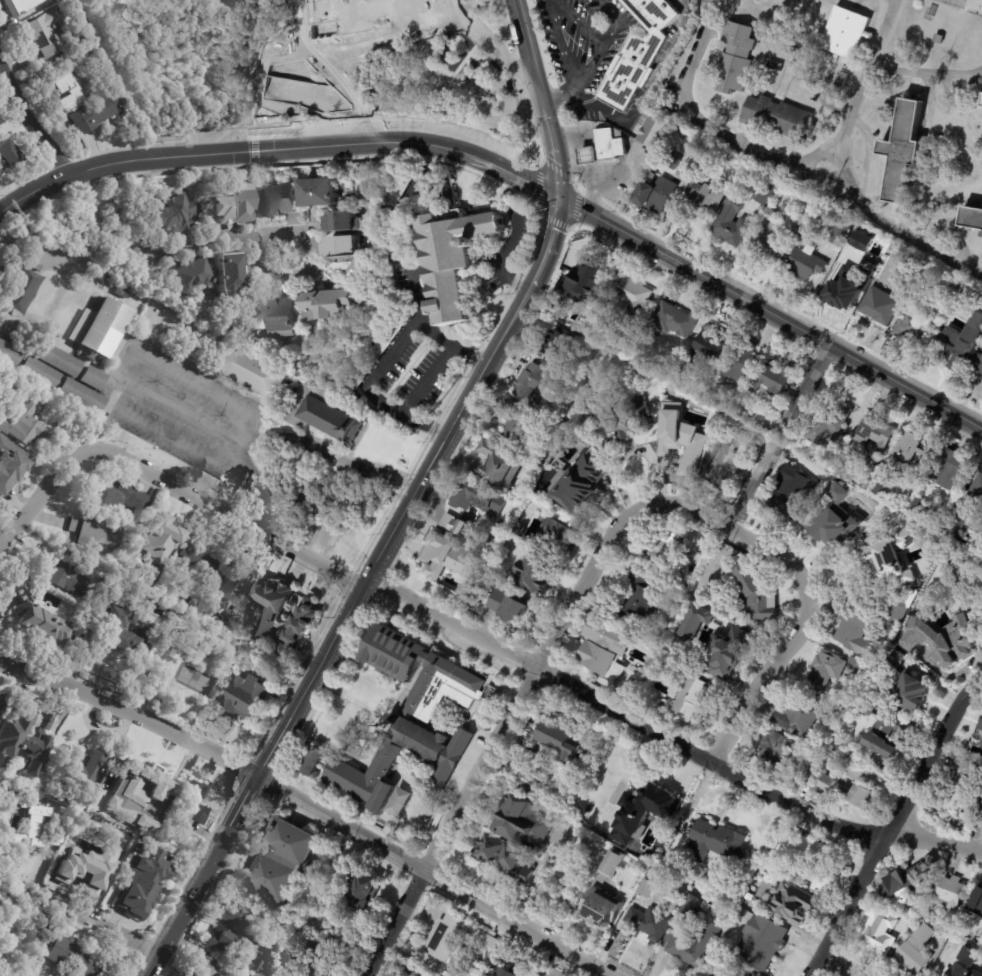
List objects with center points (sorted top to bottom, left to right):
building: (621, 1)
road: (547, 3)
building: (19, 6)
road: (605, 10)
building: (379, 14)
road: (521, 20)
road: (575, 24)
building: (845, 33)
building: (42, 34)
building: (88, 37)
building: (940, 39)
road: (602, 40)
road: (558, 45)
road: (490, 48)
building: (637, 53)
building: (86, 54)
building: (358, 57)
building: (737, 58)
road: (867, 70)
road: (926, 70)
road: (580, 72)
building: (842, 79)
building: (112, 82)
road: (556, 90)
building: (67, 91)
road: (645, 93)
building: (980, 100)
building: (94, 113)
building: (779, 117)
road: (549, 118)
road: (31, 122)
road: (708, 129)
building: (656, 133)
road: (278, 147)
building: (606, 148)
building: (700, 149)
building: (903, 151)
building: (8, 155)
building: (655, 178)
building: (399, 191)
building: (323, 194)
building: (769, 195)
building: (657, 197)
traffic signals: (557, 199)
building: (706, 202)
building: (280, 203)
building: (233, 207)
building: (803, 216)
building: (176, 217)
building: (775, 217)
building: (388, 219)
building: (972, 219)
building: (348, 222)
building: (735, 223)
road: (886, 226)
building: (841, 232)
building: (859, 241)
building: (771, 244)
building: (342, 245)
road: (168, 253)
road: (501, 258)
building: (456, 259)
building: (807, 263)
building: (350, 264)
building: (39, 268)
building: (228, 274)
building: (109, 276)
building: (587, 277)
building: (190, 278)
building: (121, 293)
building: (844, 293)
building: (630, 297)
building: (330, 307)
building: (879, 310)
road: (769, 313)
building: (0, 317)
building: (271, 318)
building: (0, 319)
road: (419, 320)
building: (676, 321)
building: (917, 328)
building: (105, 329)
road: (453, 341)
building: (559, 348)
building: (960, 348)
building: (708, 350)
building: (11, 355)
building: (60, 360)
building: (977, 363)
building: (745, 365)
road: (129, 369)
building: (682, 372)
building: (43, 373)
road: (427, 378)
building: (94, 379)
building: (777, 382)
building: (540, 385)
building: (6, 390)
building: (289, 394)
building: (84, 396)
building: (667, 409)
building: (619, 419)
building: (761, 420)
building: (23, 425)
building: (832, 426)
building: (525, 430)
building: (666, 430)
road: (780, 435)
building: (877, 436)
road: (273, 438)
building: (932, 452)
building: (687, 453)
building: (907, 455)
building: (732, 464)
building: (10, 466)
building: (499, 468)
building: (952, 470)
building: (545, 484)
building: (871, 485)
building: (580, 488)
building: (116, 493)
building: (978, 493)
building: (795, 494)
road: (40, 497)
building: (478, 499)
building: (311, 509)
building: (925, 509)
building: (837, 517)
building: (486, 522)
building: (457, 527)
building: (958, 528)
building: (95, 533)
road: (746, 533)
building: (557, 538)
building: (492, 546)
road: (852, 548)
building: (666, 552)
building: (895, 557)
building: (446, 558)
building: (637, 559)
building: (198, 565)
building: (68, 573)
building: (536, 577)
building: (232, 587)
road: (358, 590)
building: (637, 597)
building: (79, 598)
building: (187, 601)
building: (758, 601)
building: (903, 604)
building: (509, 605)
building: (272, 606)
building: (39, 617)
building: (694, 622)
building: (120, 626)
building: (300, 630)
building: (855, 634)
building: (741, 636)
building: (916, 638)
building: (953, 642)
building: (603, 647)
building: (733, 649)
road: (530, 658)
building: (897, 659)
building: (861, 670)
building: (825, 672)
building: (616, 674)
building: (914, 691)
road: (760, 695)
building: (248, 698)
building: (692, 700)
building: (2, 701)
building: (868, 706)
building: (802, 717)
building: (410, 720)
building: (15, 731)
building: (886, 735)
building: (978, 739)
building: (563, 741)
road: (495, 742)
building: (38, 745)
building: (775, 749)
building: (314, 762)
building: (87, 769)
building: (145, 777)
building: (811, 777)
building: (531, 782)
building: (959, 786)
building: (850, 791)
building: (71, 796)
building: (981, 801)
building: (396, 802)
building: (197, 804)
road: (310, 804)
building: (644, 810)
building: (524, 821)
building: (93, 824)
building: (34, 825)
road: (893, 829)
building: (719, 843)
building: (508, 858)
building: (809, 859)
building: (281, 861)
building: (613, 863)
building: (82, 870)
building: (5, 879)
building: (909, 882)
building: (143, 883)
building: (648, 889)
building: (361, 890)
building: (953, 892)
building: (749, 897)
building: (977, 903)
building: (742, 904)
building: (795, 904)
building: (601, 908)
road: (89, 914)
building: (237, 917)
building: (651, 923)
building: (881, 935)
building: (694, 936)
building: (455, 937)
building: (222, 942)
building: (762, 943)
building: (917, 951)
building: (325, 953)
building: (73, 958)
building: (283, 960)
building: (964, 963)
building: (253, 966)
road: (834, 966)
building: (205, 968)
building: (409, 971)
building: (506, 971)
building: (245, 975)
building: (711, 975)
building: (714, 975)

